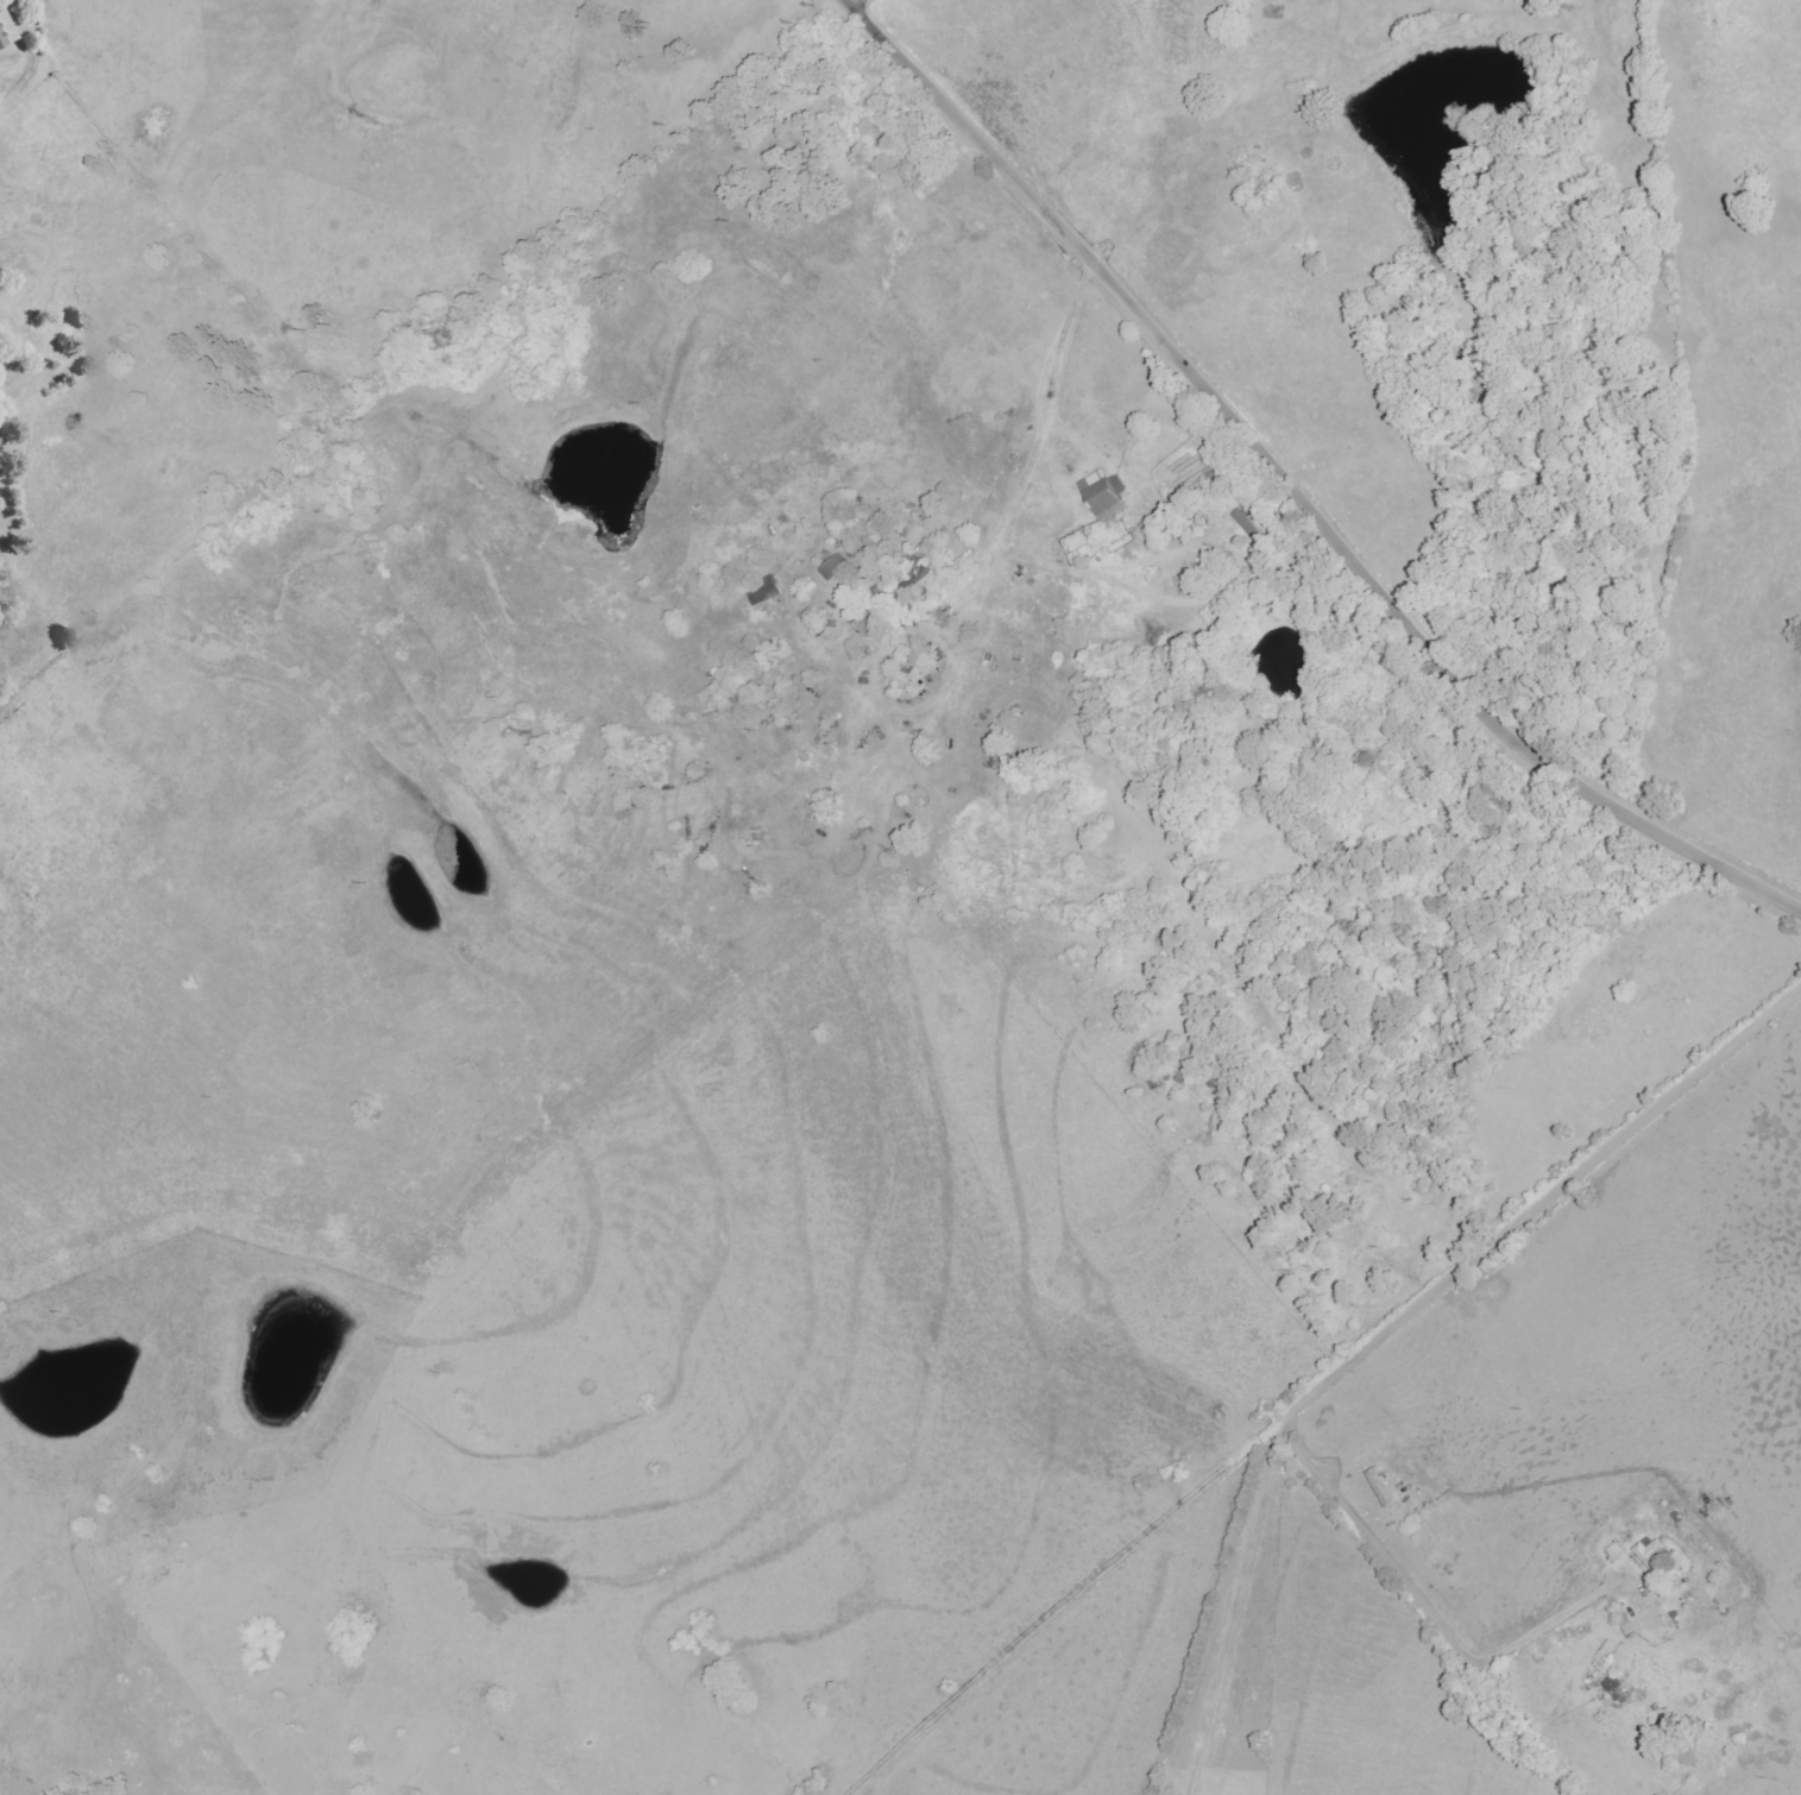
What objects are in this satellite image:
road: (858, 2)
building: (4, 31)
road: (1085, 288)
road: (1298, 487)
building: (1100, 497)
building: (1247, 525)
building: (762, 593)
road: (1545, 1210)
building: (1385, 1489)
road: (1385, 1552)
building: (1654, 1552)
road: (1240, 1607)
road: (1563, 1621)

